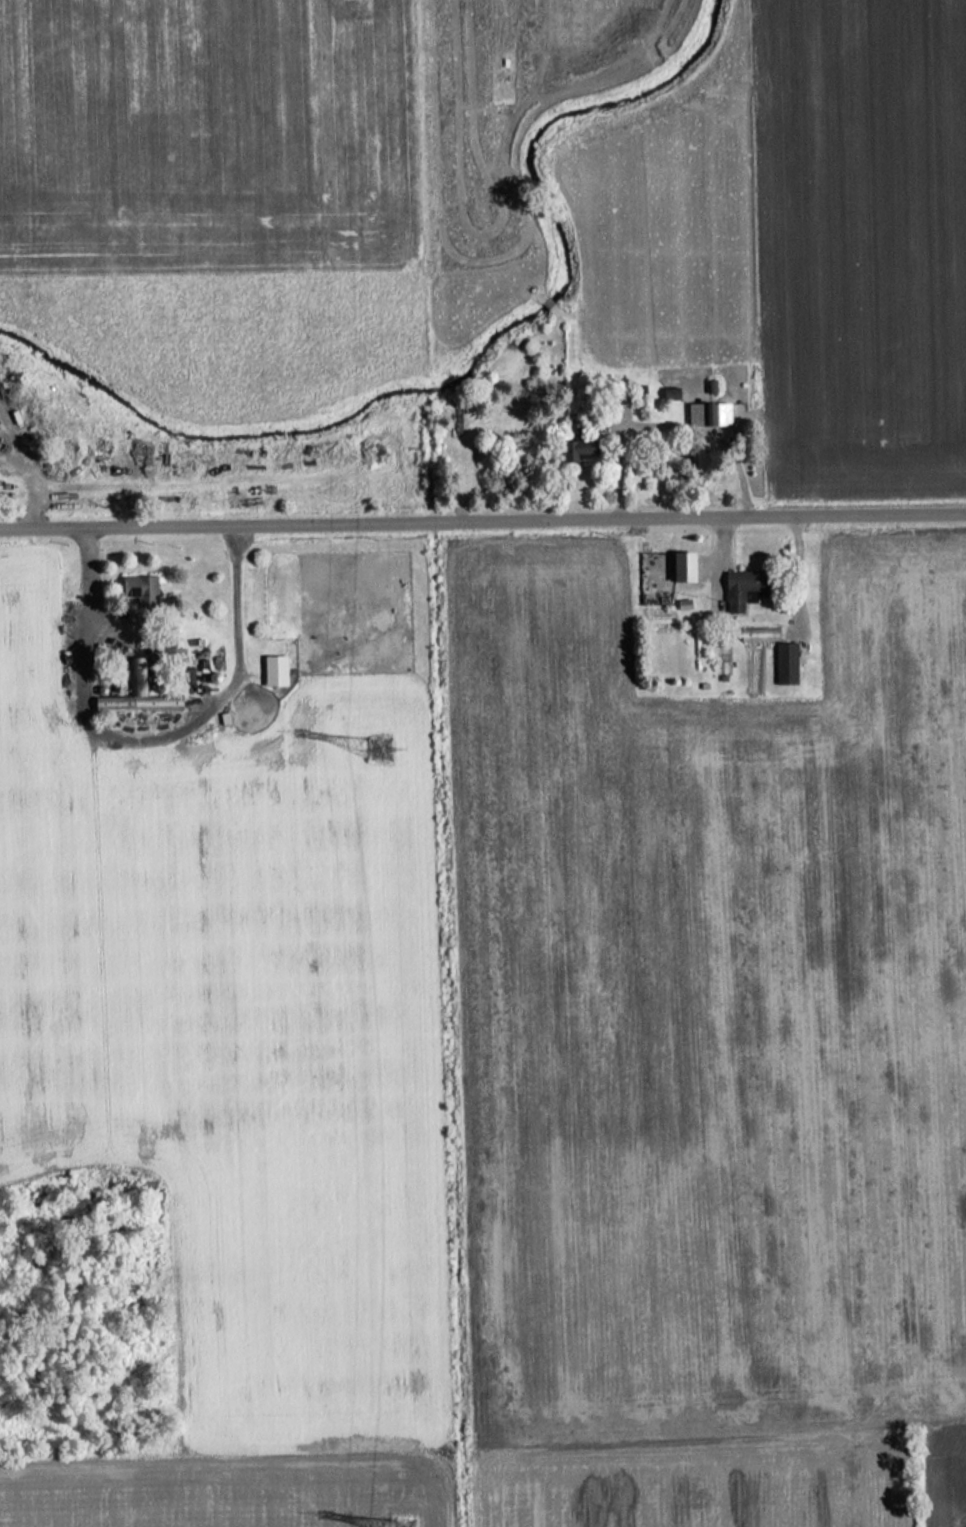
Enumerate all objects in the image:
crop: (506, 100)
crop: (213, 190)
crop: (672, 226)
crop: (859, 244)
building: (706, 413)
road: (664, 429)
road: (10, 442)
building: (576, 448)
road: (28, 482)
road: (482, 515)
building: (682, 566)
building: (137, 588)
building: (743, 588)
building: (757, 636)
building: (784, 663)
building: (273, 670)
building: (135, 695)
road: (147, 740)
power tower: (374, 747)
crop: (711, 1016)
crop: (247, 1038)
crop: (505, 1486)
power tower: (402, 1525)

